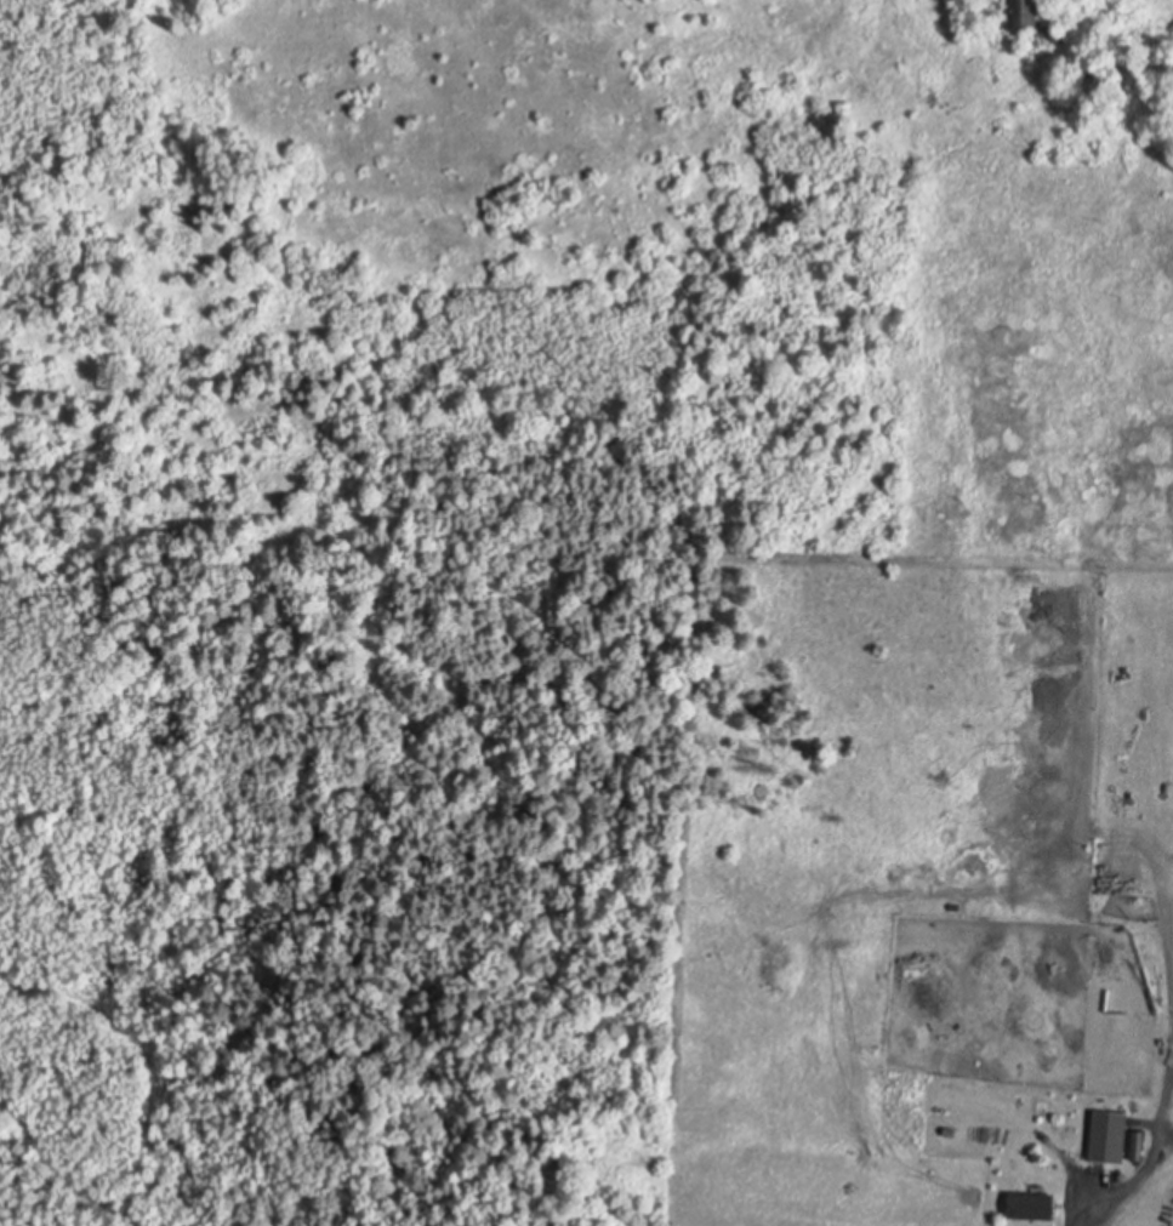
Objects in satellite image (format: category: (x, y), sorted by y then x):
building: (1026, 13)
building: (1053, 34)
building: (898, 1096)
building: (1111, 1131)
building: (1032, 1203)
road: (1087, 1215)

